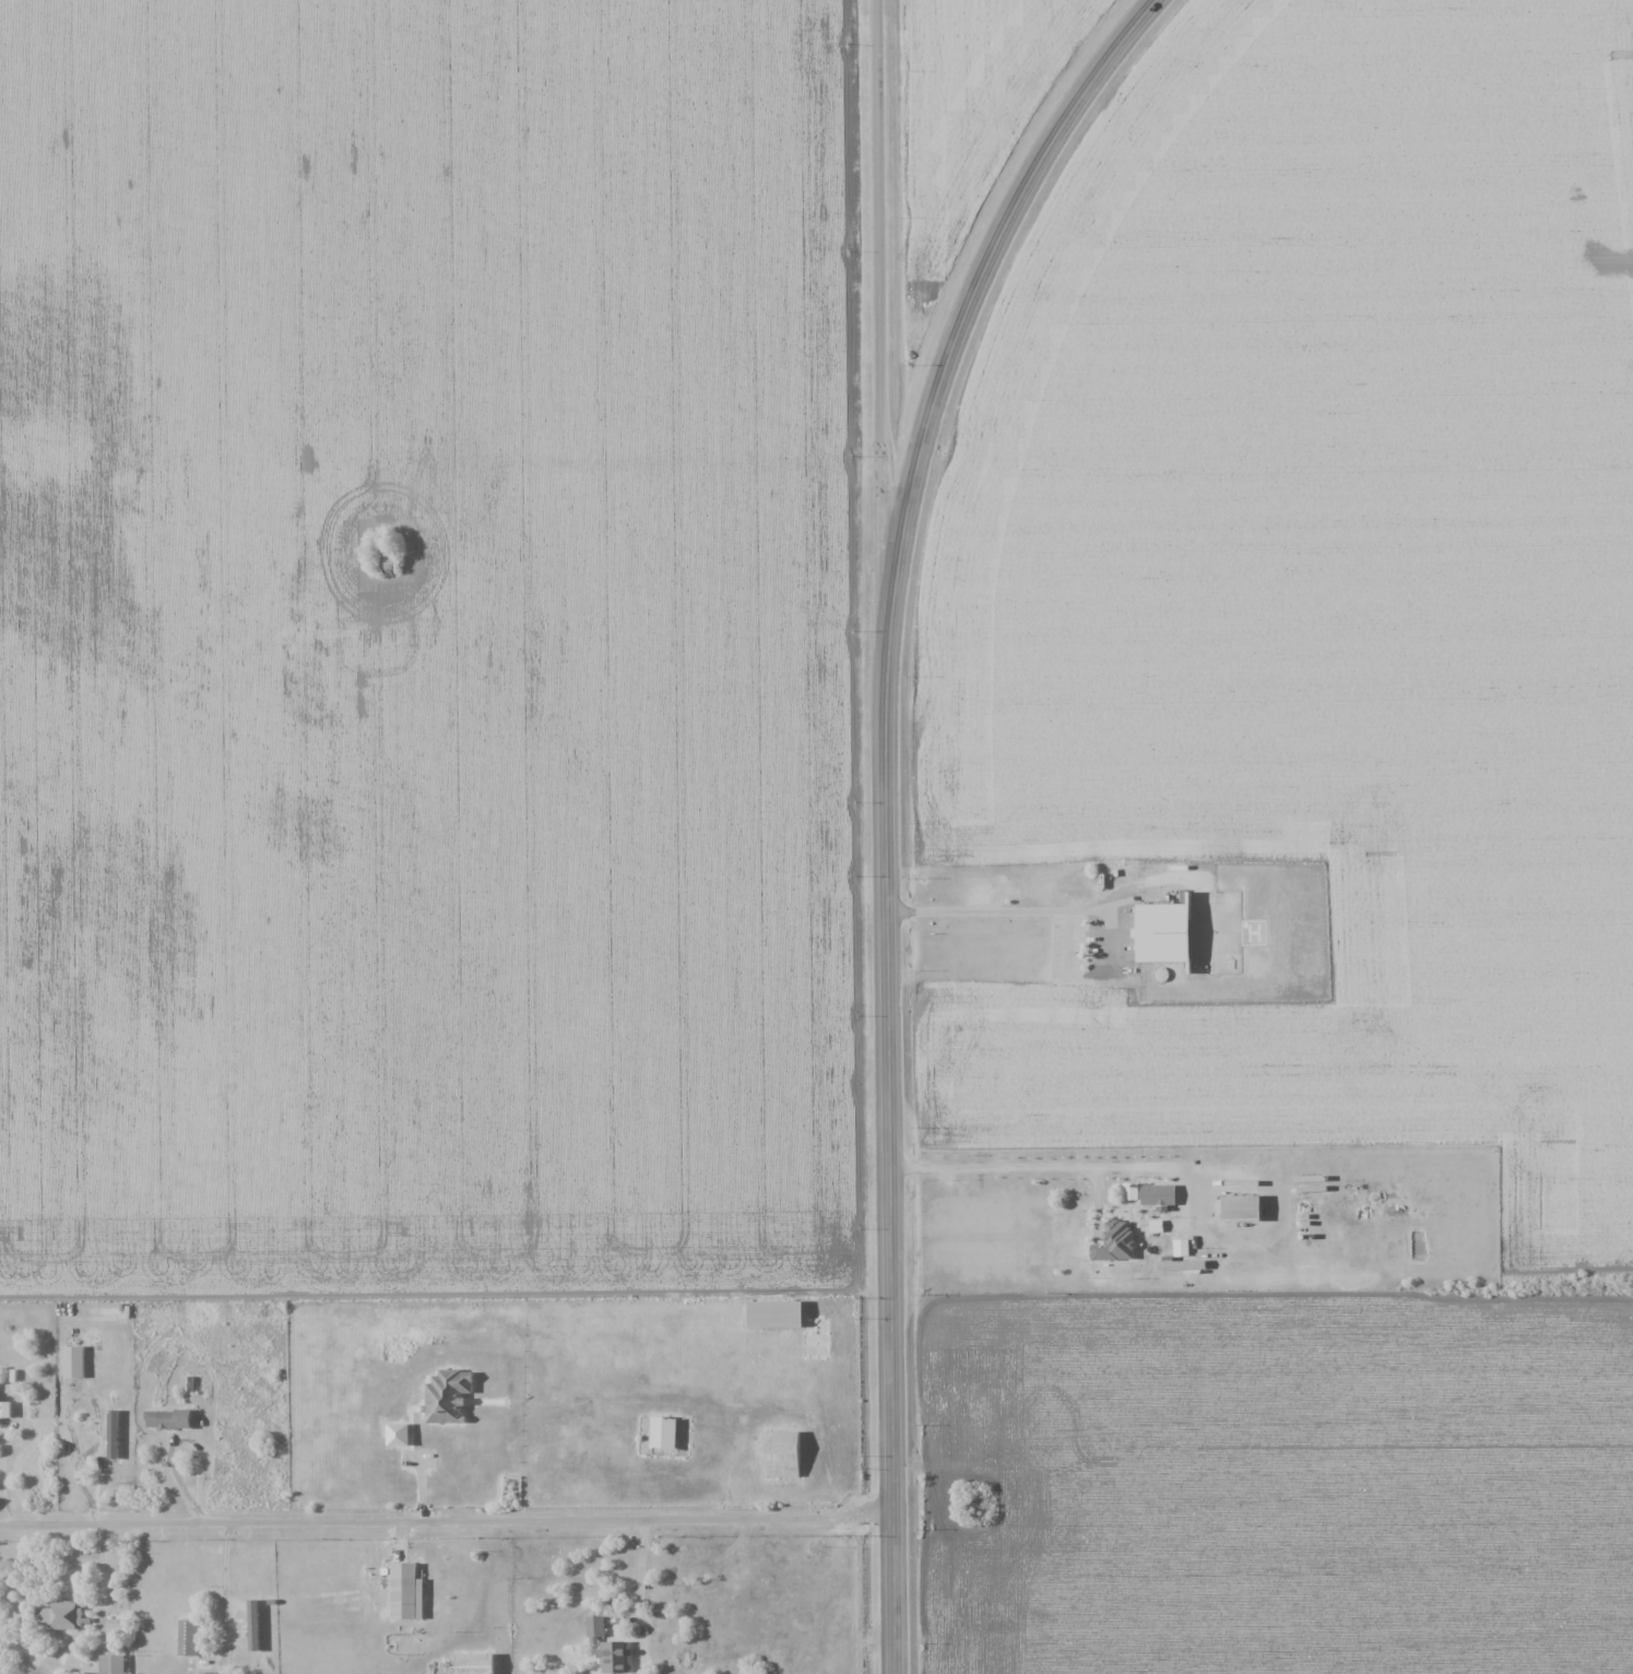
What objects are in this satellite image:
road: (878, 355)
road: (630, 476)
road: (890, 804)
building: (1161, 931)
road: (1033, 1166)
building: (1128, 1190)
building: (1240, 1205)
building: (1069, 1212)
building: (1155, 1225)
building: (1181, 1264)
building: (774, 1313)
building: (72, 1360)
building: (446, 1394)
building: (4, 1410)
building: (166, 1419)
building: (662, 1433)
building: (111, 1434)
building: (782, 1453)
road: (445, 1518)
road: (641, 1567)
building: (713, 1569)
building: (405, 1591)
building: (57, 1615)
building: (252, 1624)
building: (117, 1625)
building: (595, 1626)
building: (187, 1638)
building: (113, 1663)
building: (473, 1663)
building: (206, 1672)

